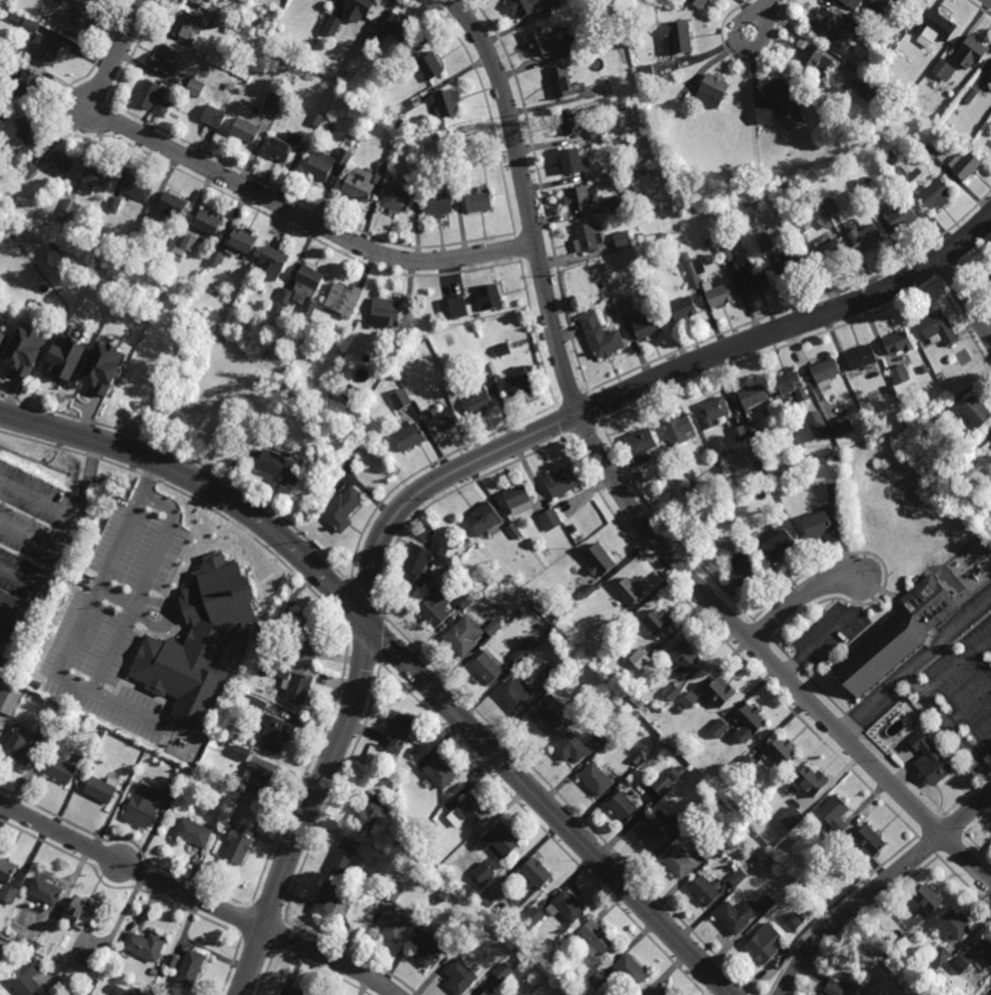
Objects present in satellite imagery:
building: (58, 1)
building: (97, 1)
building: (201, 2)
building: (699, 3)
building: (853, 3)
building: (556, 5)
building: (879, 5)
building: (524, 7)
building: (360, 9)
road: (764, 9)
building: (219, 13)
road: (743, 17)
building: (77, 22)
building: (186, 24)
building: (211, 25)
building: (334, 25)
building: (398, 26)
building: (244, 27)
building: (938, 28)
building: (834, 29)
building: (918, 29)
building: (863, 36)
building: (675, 38)
building: (371, 40)
building: (41, 41)
building: (586, 41)
building: (278, 42)
building: (541, 43)
building: (571, 45)
building: (972, 52)
building: (165, 60)
building: (813, 61)
building: (430, 65)
building: (945, 70)
building: (990, 72)
building: (645, 75)
building: (561, 82)
building: (29, 84)
building: (195, 88)
building: (713, 89)
building: (873, 94)
building: (969, 96)
building: (151, 98)
building: (772, 100)
building: (275, 102)
building: (446, 102)
building: (407, 107)
building: (4, 113)
building: (214, 116)
building: (318, 121)
building: (572, 122)
building: (31, 131)
building: (246, 131)
building: (597, 131)
building: (436, 136)
building: (631, 141)
building: (284, 148)
building: (929, 153)
building: (462, 154)
building: (890, 159)
building: (571, 161)
building: (59, 165)
building: (327, 165)
building: (966, 165)
building: (415, 167)
building: (29, 169)
building: (380, 173)
building: (639, 177)
building: (96, 179)
building: (361, 185)
building: (864, 187)
building: (136, 188)
road: (255, 193)
building: (935, 195)
building: (578, 199)
building: (396, 200)
building: (623, 201)
building: (479, 202)
building: (114, 204)
building: (438, 205)
building: (171, 206)
building: (831, 207)
building: (70, 209)
building: (901, 217)
building: (150, 223)
building: (207, 224)
building: (799, 226)
building: (641, 235)
building: (588, 238)
building: (866, 238)
building: (622, 239)
building: (187, 242)
building: (708, 242)
building: (242, 243)
building: (765, 243)
building: (831, 254)
building: (685, 256)
building: (216, 260)
building: (275, 264)
building: (793, 266)
building: (694, 267)
building: (745, 268)
building: (253, 274)
building: (990, 276)
building: (655, 281)
building: (302, 288)
building: (491, 295)
building: (720, 297)
road: (965, 300)
building: (343, 301)
building: (626, 304)
building: (453, 308)
building: (684, 309)
building: (310, 310)
building: (386, 312)
building: (2, 323)
building: (647, 327)
building: (937, 328)
building: (601, 336)
building: (403, 339)
building: (4, 342)
building: (313, 343)
building: (899, 343)
building: (28, 349)
building: (502, 351)
building: (66, 356)
building: (861, 357)
building: (335, 363)
building: (102, 369)
building: (400, 369)
building: (825, 369)
building: (924, 369)
building: (484, 373)
building: (900, 373)
building: (452, 378)
building: (519, 384)
building: (791, 385)
building: (351, 392)
building: (753, 395)
building: (400, 399)
building: (478, 399)
building: (713, 410)
building: (975, 411)
building: (934, 417)
building: (443, 418)
building: (818, 423)
building: (843, 425)
building: (678, 429)
building: (752, 431)
building: (740, 434)
building: (409, 436)
building: (990, 441)
building: (642, 444)
building: (976, 444)
building: (838, 456)
building: (282, 465)
building: (756, 465)
road: (460, 469)
road: (88, 480)
building: (561, 482)
building: (837, 490)
building: (518, 498)
road: (623, 498)
road: (38, 500)
building: (343, 508)
building: (714, 509)
building: (550, 518)
building: (484, 519)
building: (821, 522)
building: (514, 531)
road: (29, 538)
building: (780, 542)
building: (468, 543)
building: (600, 559)
building: (421, 561)
building: (743, 570)
road: (21, 577)
road: (40, 590)
building: (587, 592)
building: (628, 592)
road: (114, 596)
road: (802, 598)
building: (466, 601)
building: (434, 609)
road: (13, 613)
building: (562, 613)
building: (659, 622)
building: (302, 626)
road: (830, 632)
building: (468, 634)
building: (895, 638)
building: (199, 640)
building: (308, 652)
road: (397, 654)
building: (519, 654)
building: (639, 659)
building: (686, 660)
road: (956, 663)
road: (916, 666)
building: (487, 668)
building: (551, 673)
building: (621, 680)
road: (73, 682)
building: (292, 682)
building: (720, 692)
building: (673, 693)
building: (515, 695)
building: (8, 700)
building: (690, 700)
building: (252, 702)
building: (639, 703)
road: (968, 705)
building: (579, 706)
building: (548, 716)
building: (922, 721)
building: (749, 723)
road: (947, 727)
building: (92, 728)
building: (607, 729)
building: (719, 729)
building: (399, 730)
building: (275, 733)
building: (28, 741)
road: (981, 746)
building: (572, 748)
building: (782, 751)
building: (411, 752)
building: (240, 753)
building: (638, 759)
building: (931, 759)
building: (748, 764)
building: (60, 770)
building: (439, 772)
building: (675, 773)
building: (257, 778)
building: (597, 778)
building: (813, 782)
building: (662, 784)
building: (102, 789)
building: (172, 790)
building: (142, 806)
building: (623, 807)
building: (473, 810)
building: (369, 814)
building: (835, 817)
building: (792, 819)
building: (682, 823)
building: (192, 833)
building: (649, 836)
building: (412, 840)
building: (502, 841)
building: (871, 841)
building: (238, 843)
building: (707, 847)
building: (344, 856)
building: (678, 862)
building: (7, 870)
building: (483, 873)
building: (537, 873)
building: (737, 877)
road: (878, 887)
building: (705, 891)
building: (46, 892)
building: (395, 893)
building: (8, 894)
building: (488, 897)
road: (198, 899)
building: (328, 900)
building: (930, 901)
building: (767, 903)
building: (566, 907)
building: (83, 912)
building: (737, 916)
building: (532, 917)
building: (795, 921)
building: (394, 923)
building: (955, 926)
building: (470, 936)
building: (573, 939)
building: (597, 939)
building: (766, 944)
building: (145, 945)
building: (426, 949)
building: (461, 949)
building: (984, 955)
building: (85, 957)
building: (940, 959)
building: (172, 962)
building: (962, 963)
building: (191, 967)
building: (631, 970)
building: (155, 972)
building: (503, 972)
building: (461, 975)
building: (26, 978)
building: (596, 979)
building: (838, 988)
building: (125, 991)
building: (109, 992)
building: (297, 992)
building: (490, 992)
building: (659, 992)
building: (819, 993)
building: (139, 994)

